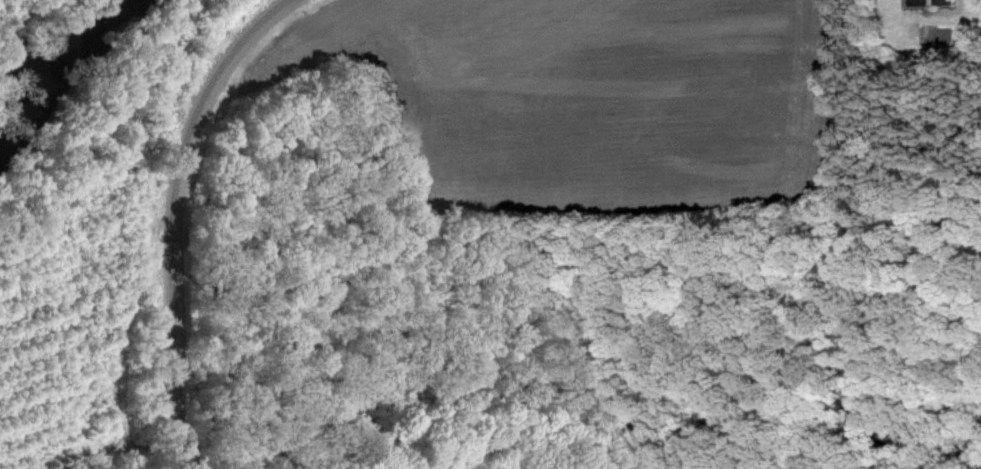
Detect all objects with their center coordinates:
building: (928, 1)
river: (65, 61)
road: (169, 211)

